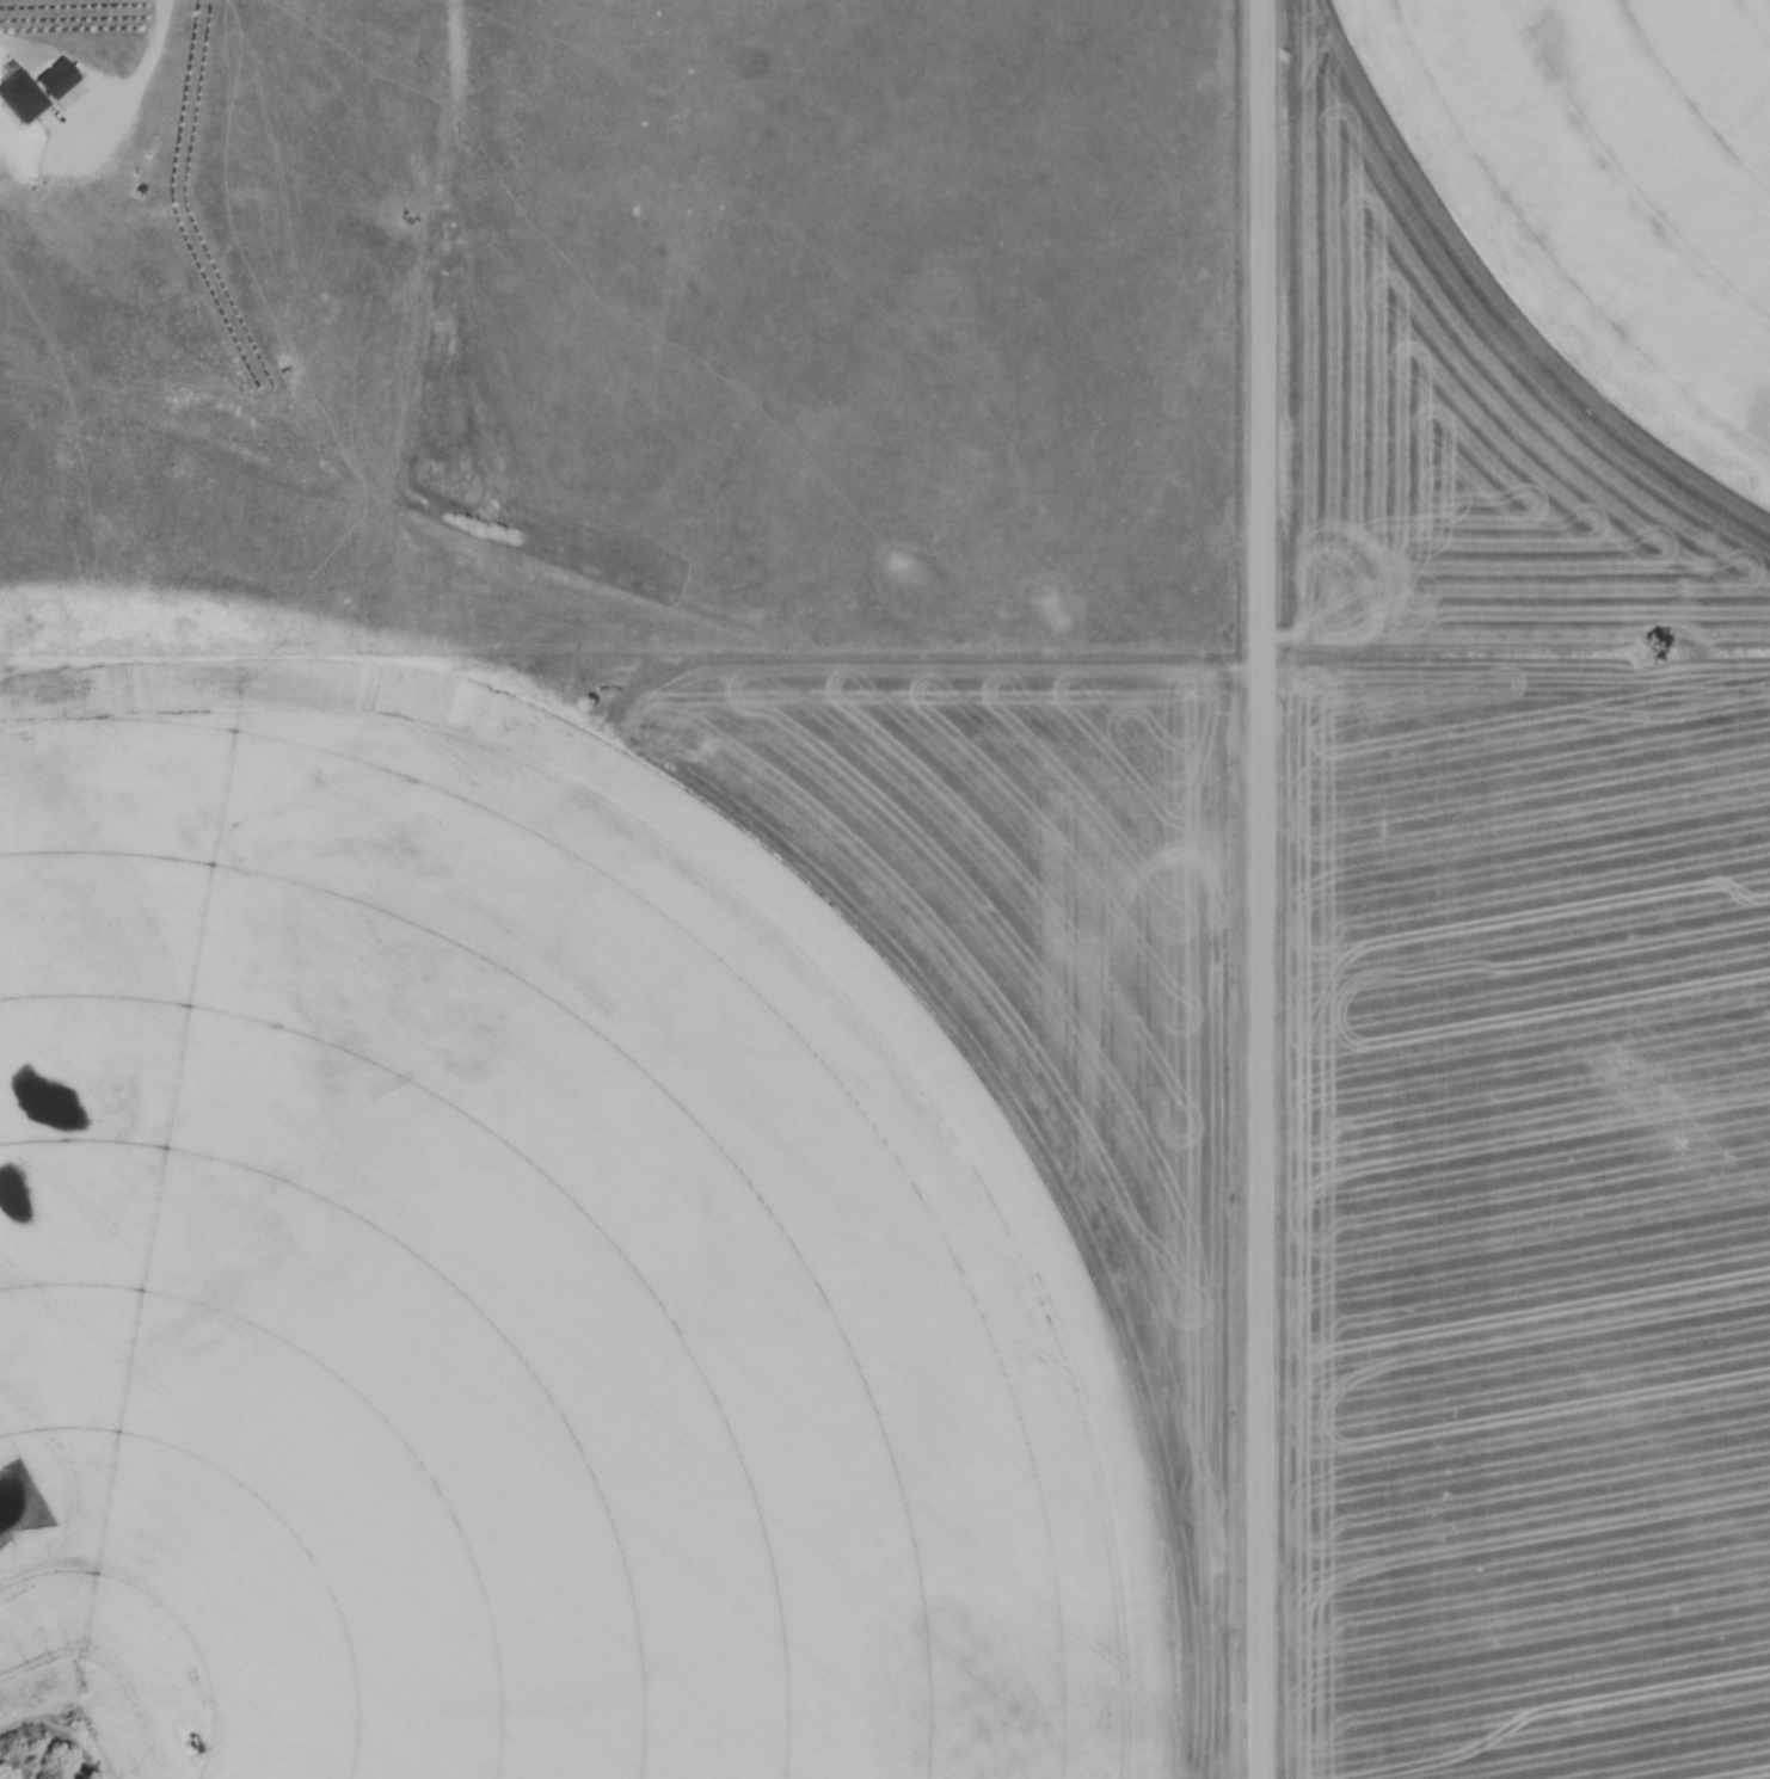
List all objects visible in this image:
road: (1264, 888)

